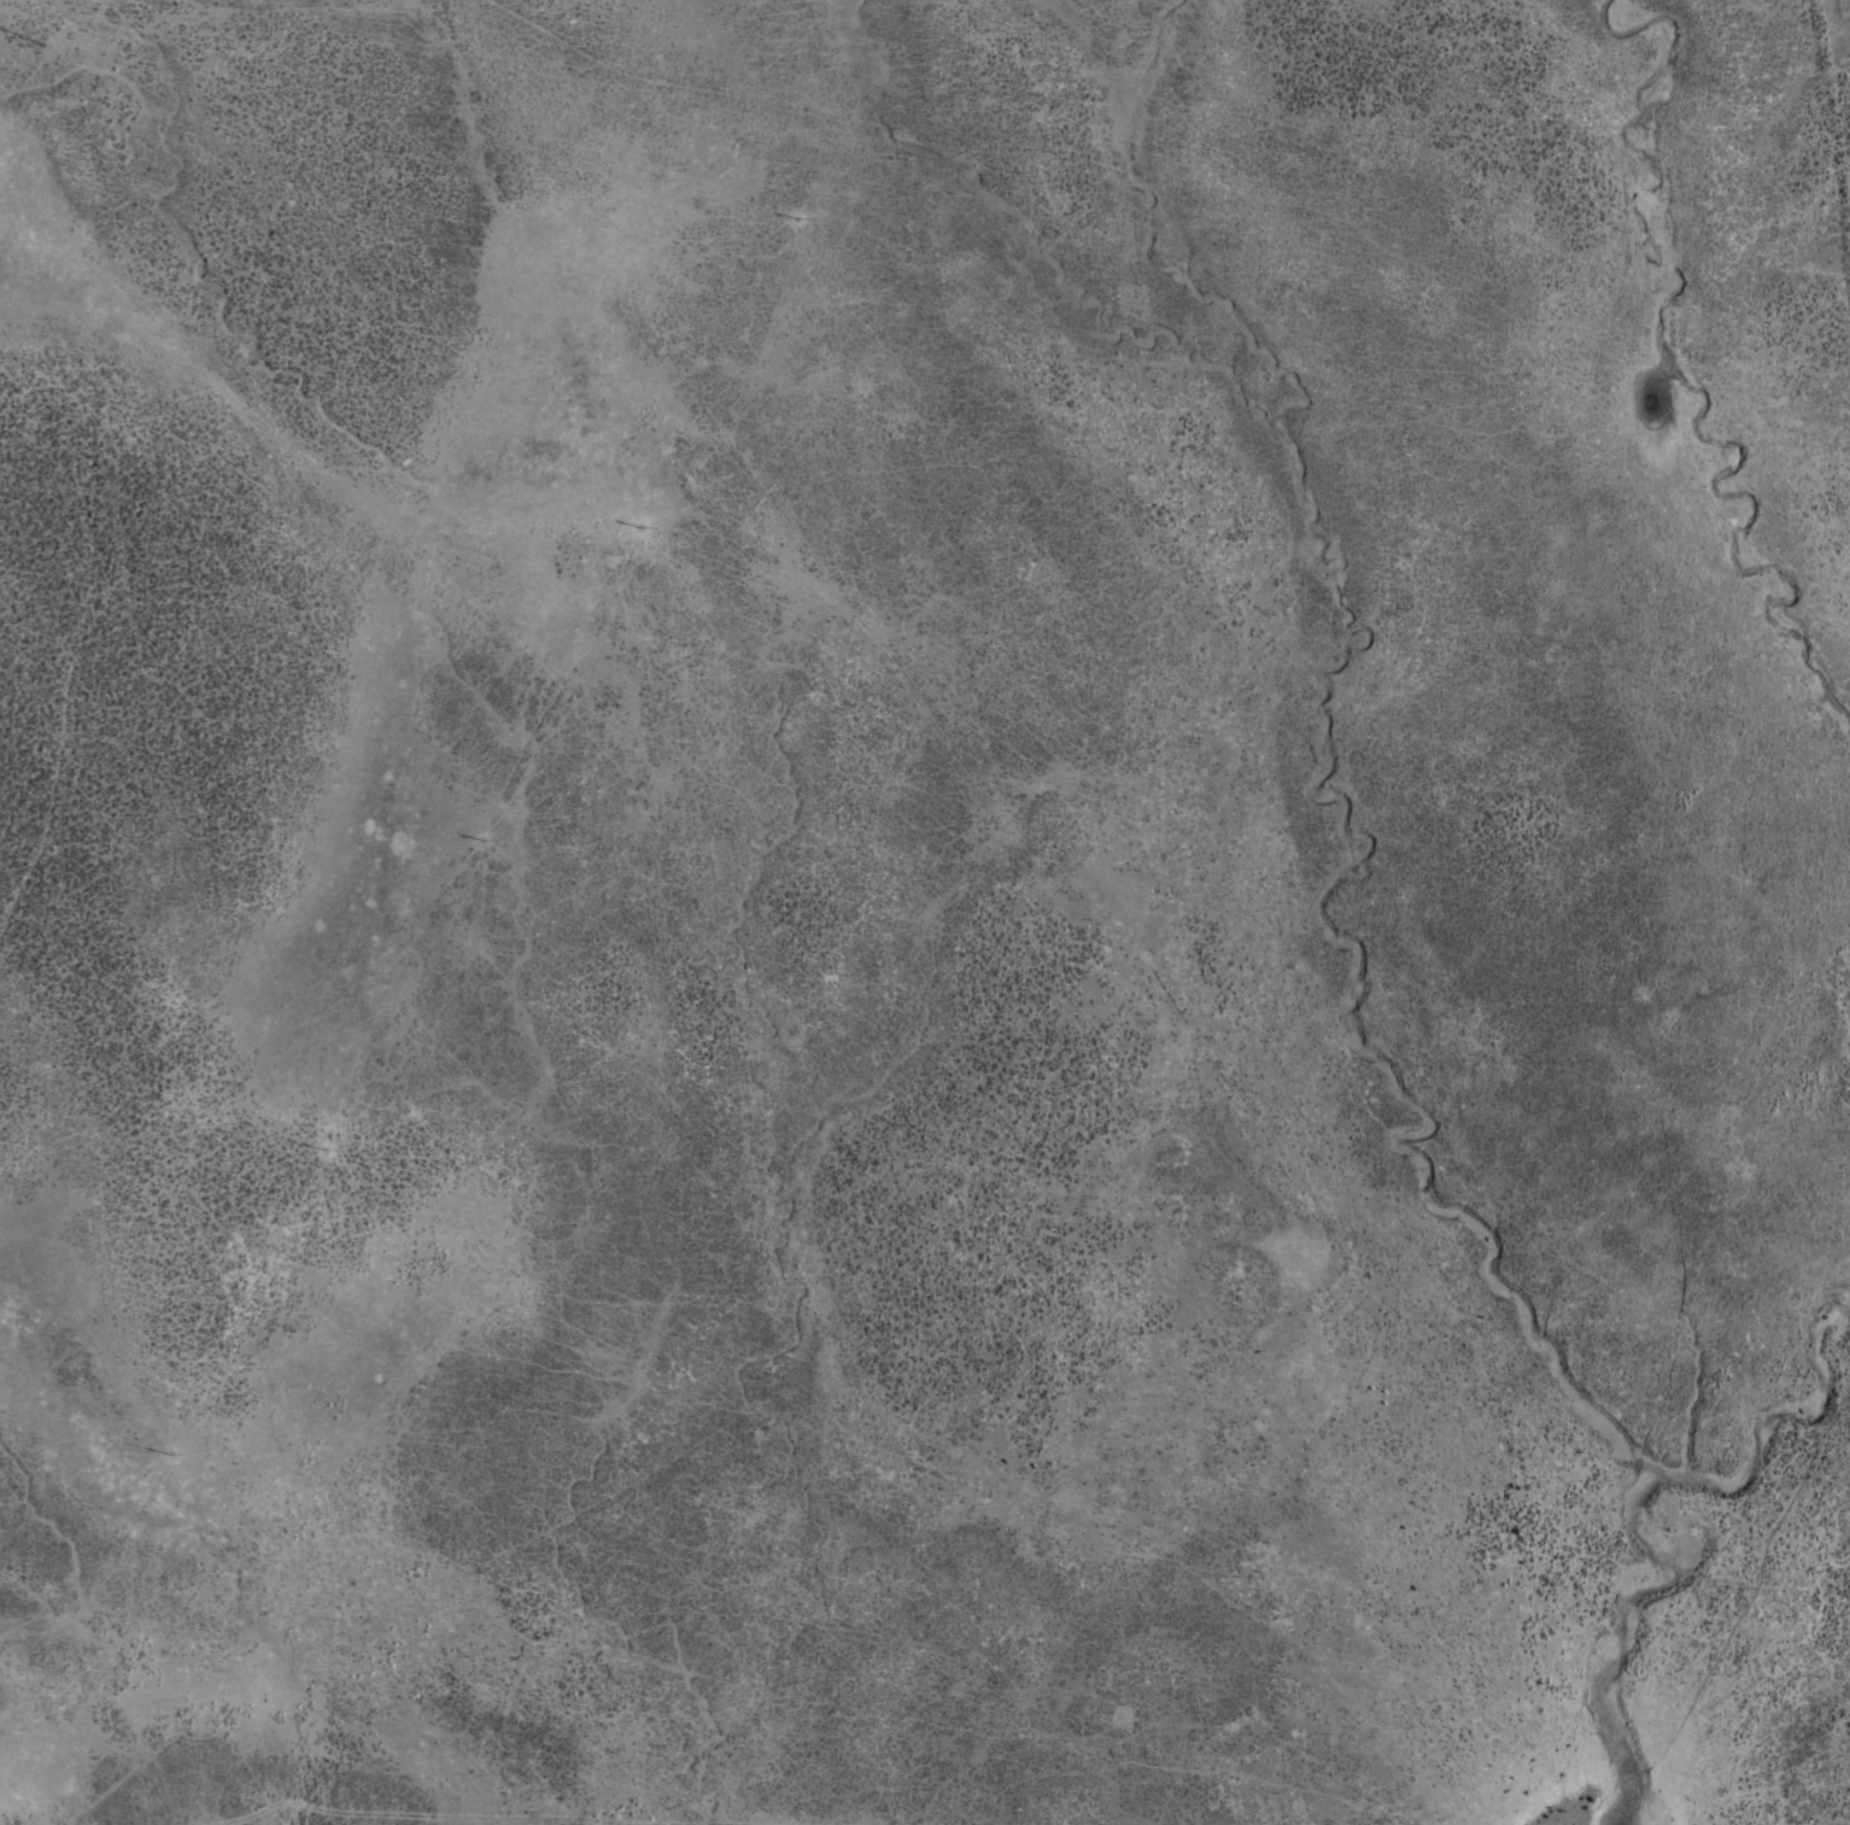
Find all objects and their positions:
crop: (931, 917)

